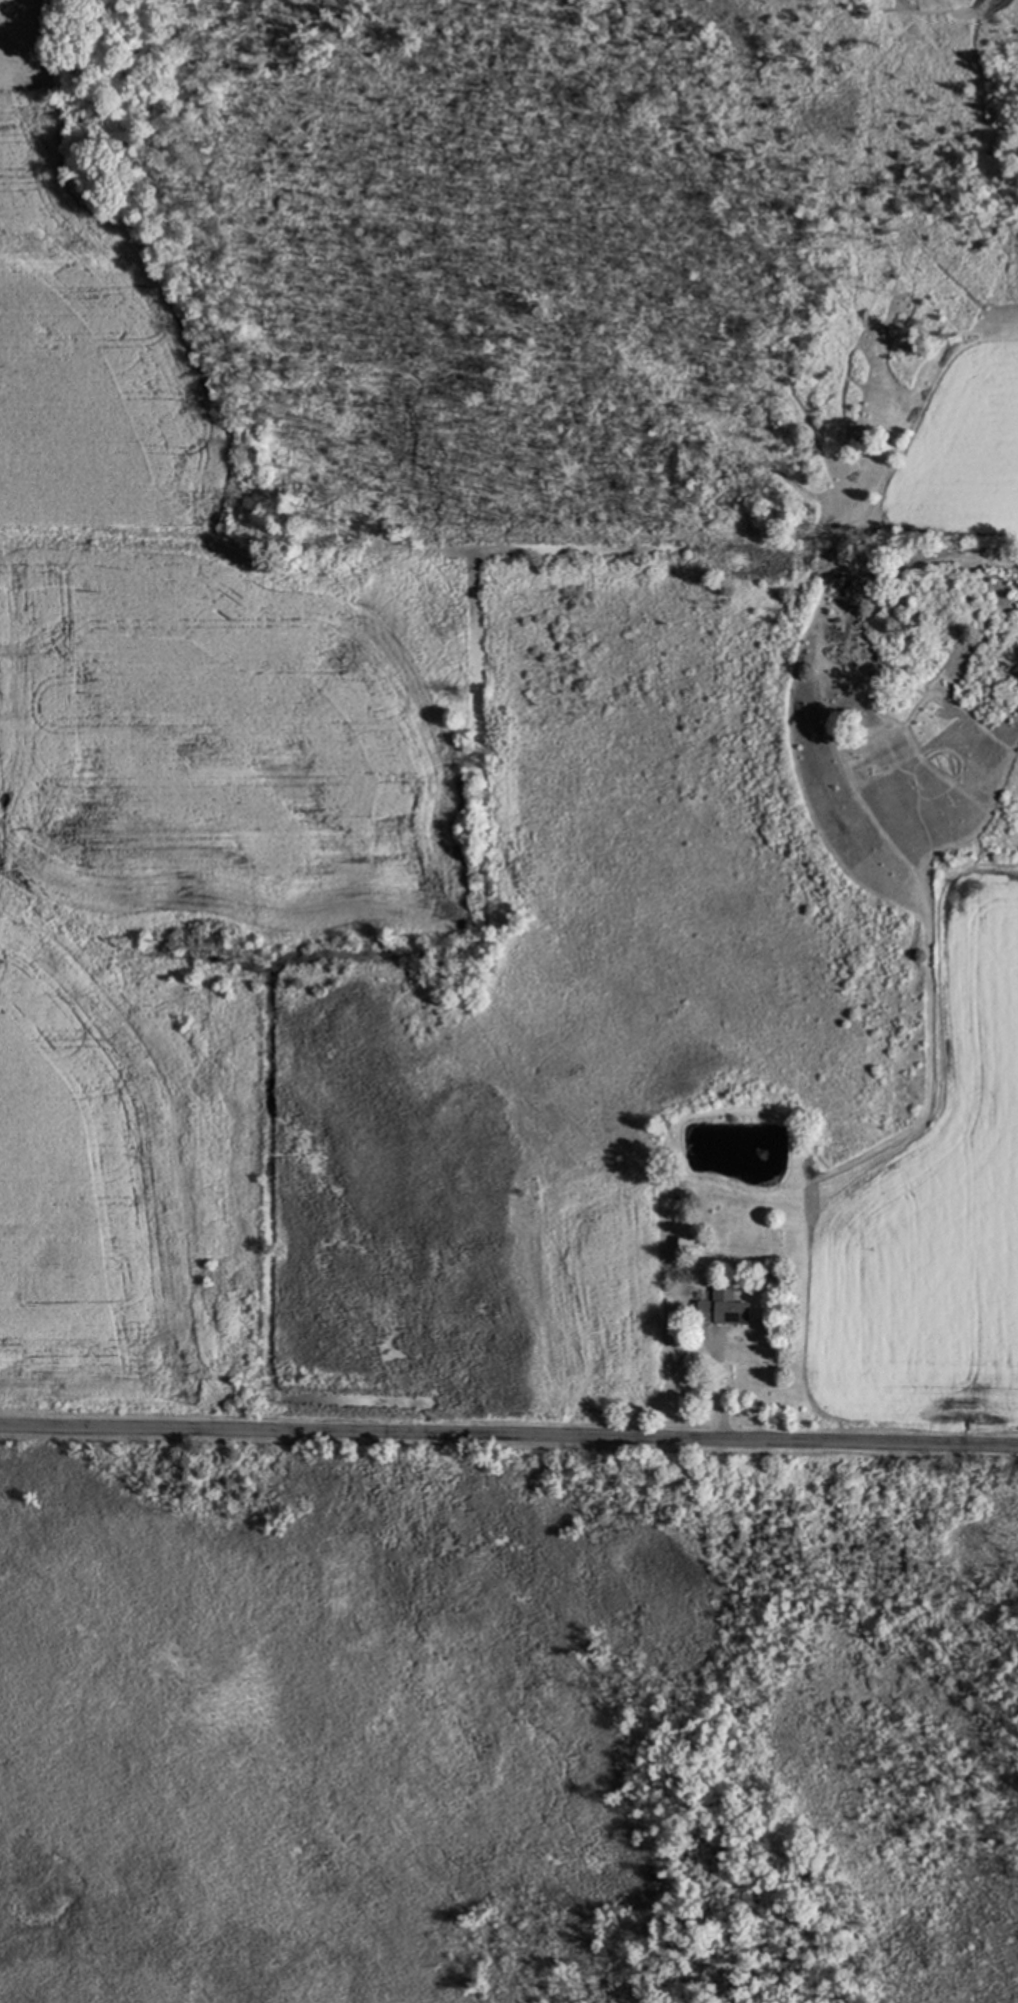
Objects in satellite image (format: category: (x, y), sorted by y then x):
road: (722, 1389)
road: (509, 1436)

